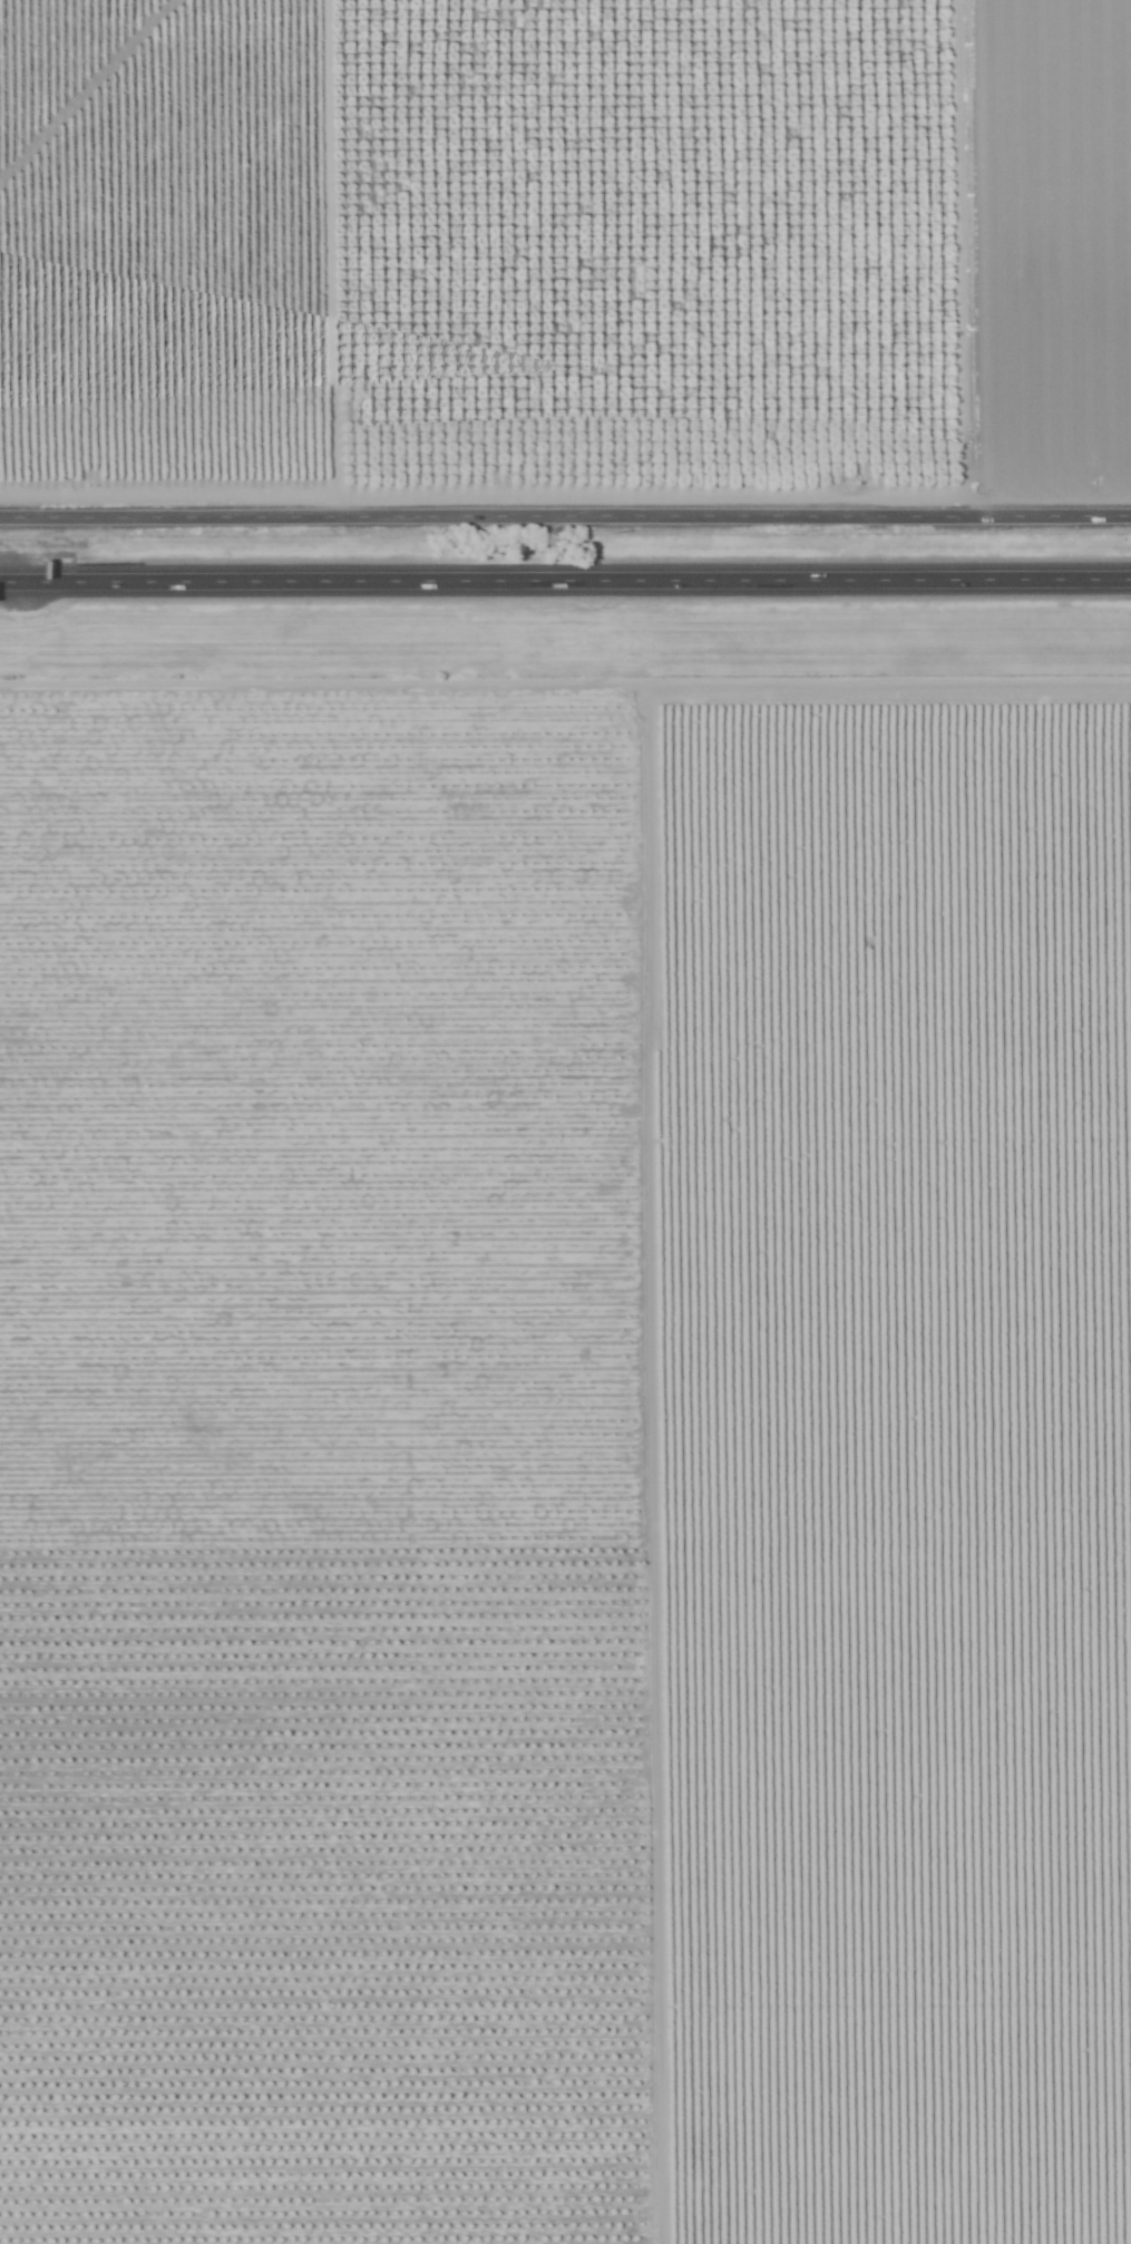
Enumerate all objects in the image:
crop: (564, 275)
road: (565, 511)
road: (565, 580)
crop: (565, 1448)

